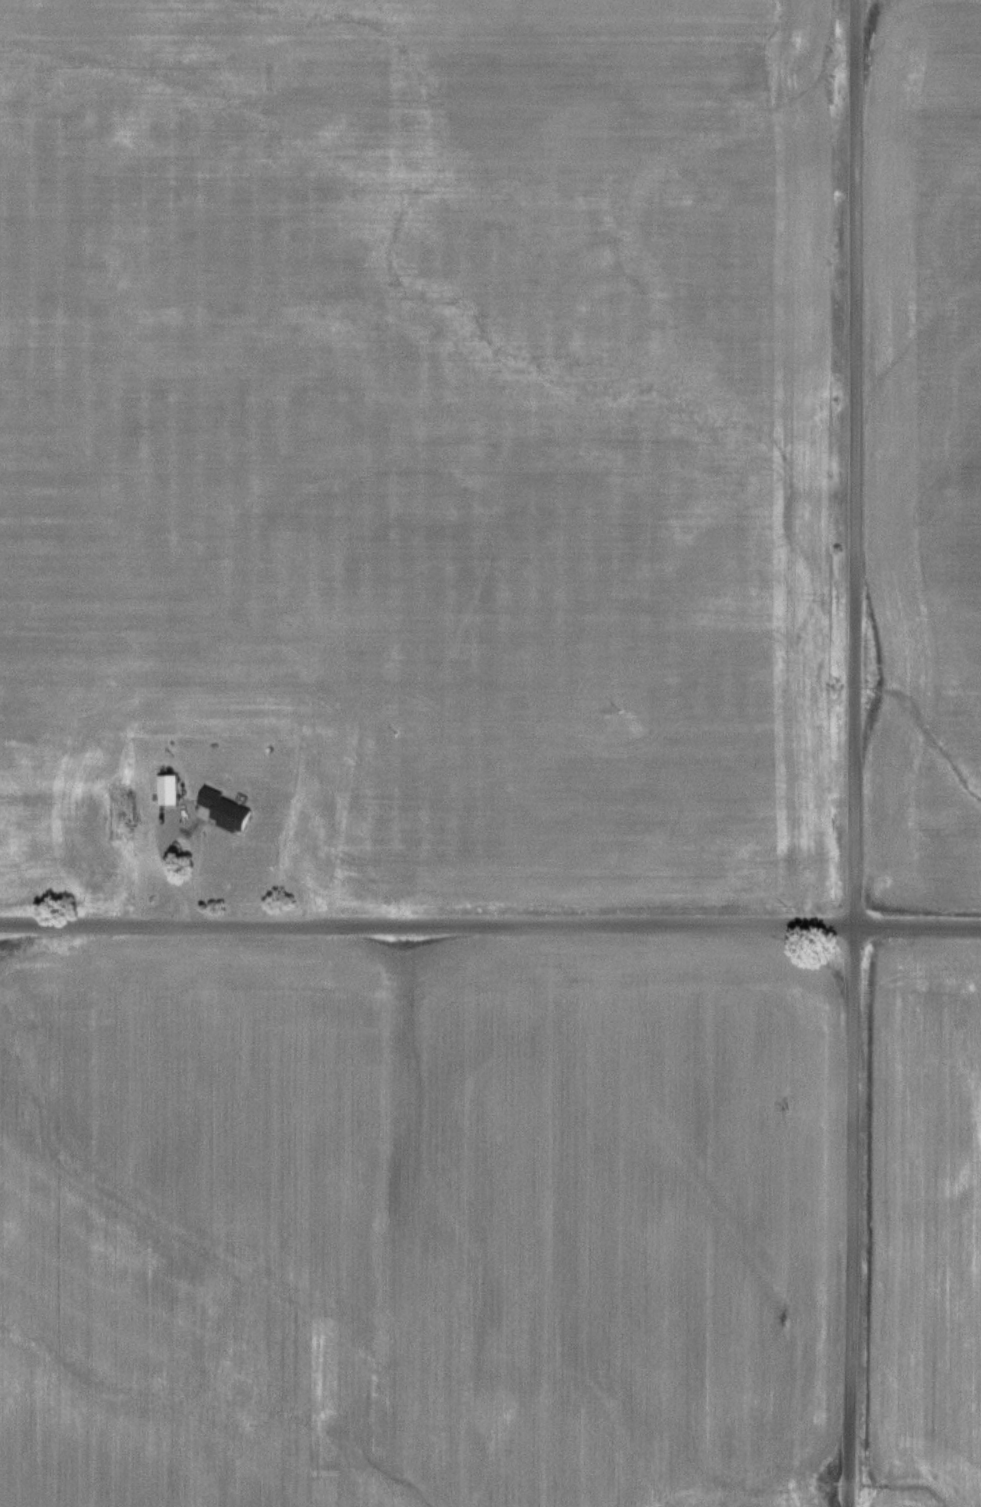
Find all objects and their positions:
road: (854, 753)
building: (175, 789)
building: (227, 810)
road: (490, 926)

